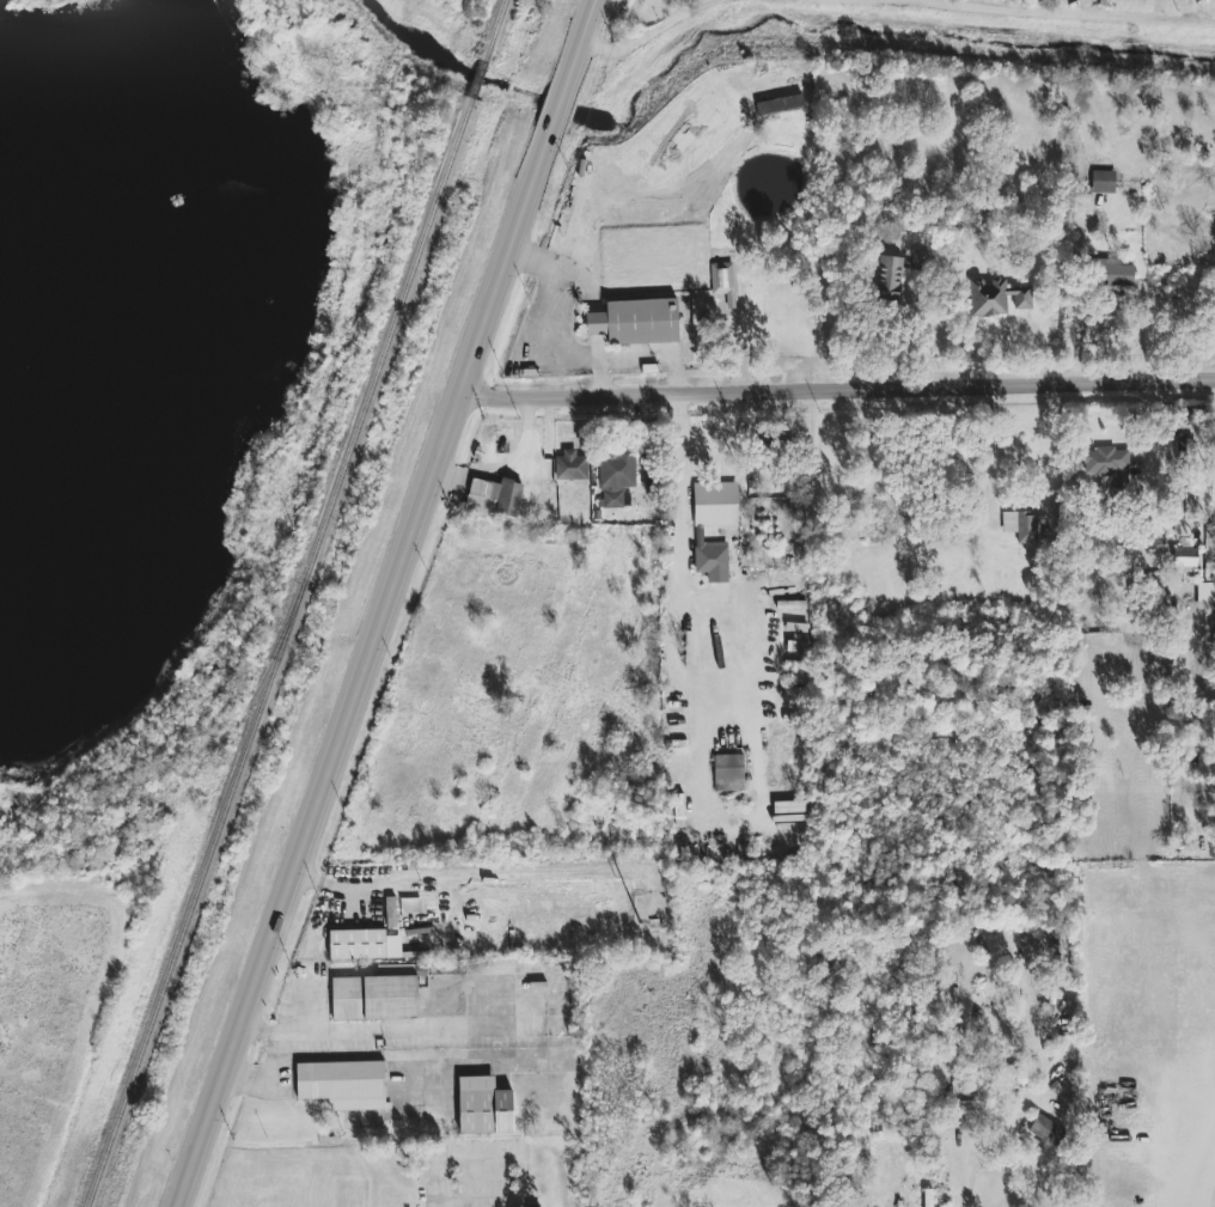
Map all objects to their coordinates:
road: (1055, 14)
road: (592, 30)
railway: (495, 31)
road: (651, 31)
road: (575, 74)
railway: (477, 81)
building: (780, 105)
road: (561, 114)
building: (1104, 182)
building: (921, 261)
building: (1112, 273)
building: (889, 278)
building: (722, 280)
building: (996, 297)
road: (554, 312)
building: (636, 322)
road: (658, 352)
road: (599, 378)
road: (839, 388)
building: (502, 440)
building: (1106, 464)
building: (572, 465)
building: (617, 476)
building: (496, 498)
building: (713, 525)
building: (1185, 557)
building: (1205, 596)
road: (682, 601)
railway: (280, 653)
railway: (274, 654)
road: (365, 673)
building: (728, 773)
road: (328, 884)
building: (358, 944)
building: (374, 998)
road: (439, 1028)
road: (282, 1032)
road: (335, 1057)
building: (343, 1085)
building: (484, 1107)
building: (970, 1115)
building: (1046, 1130)
road: (517, 1163)
road: (972, 1164)
road: (446, 1202)

